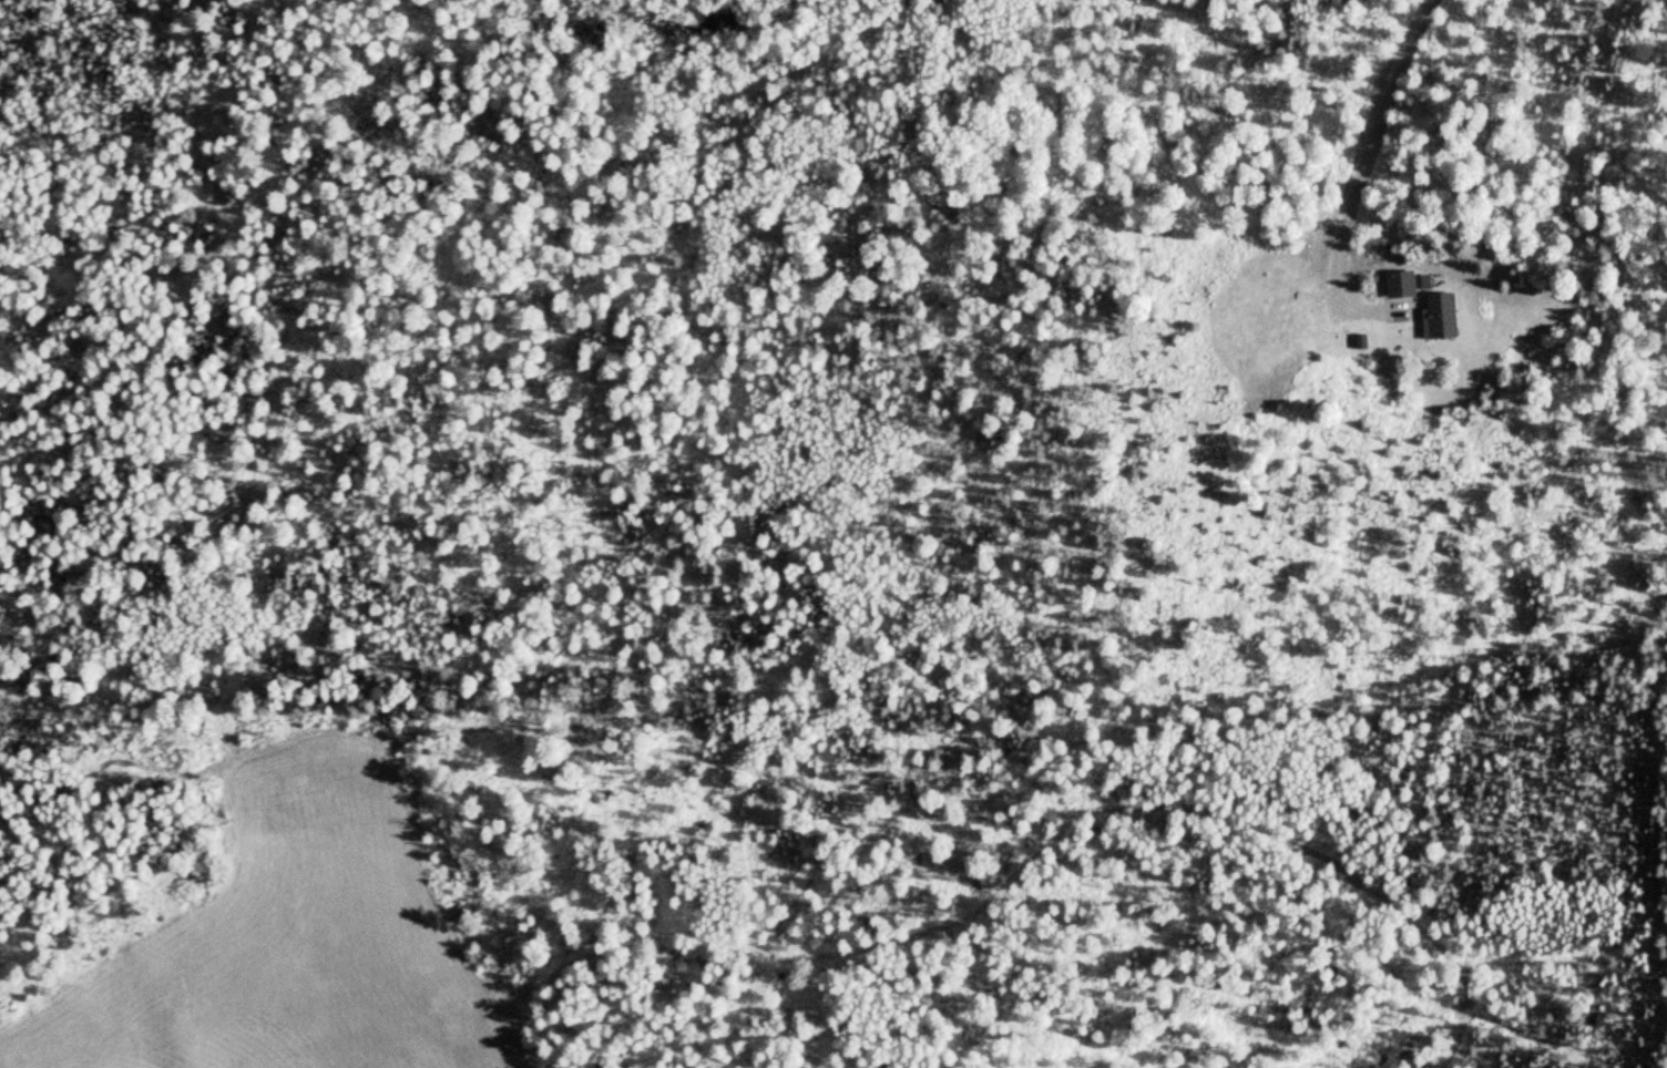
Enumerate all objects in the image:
road: (1370, 154)
building: (1413, 306)

